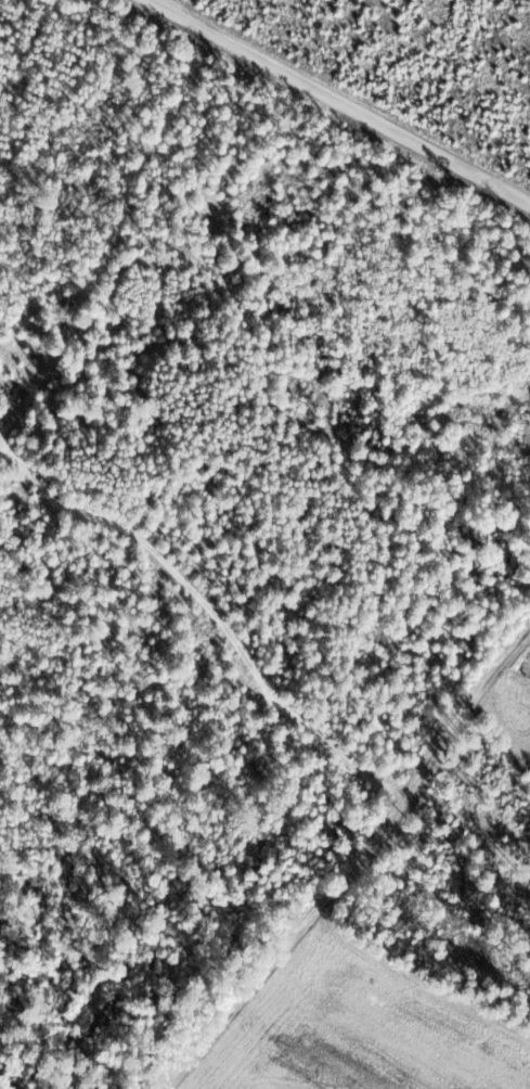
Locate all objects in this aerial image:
road: (315, 130)
road: (350, 808)

